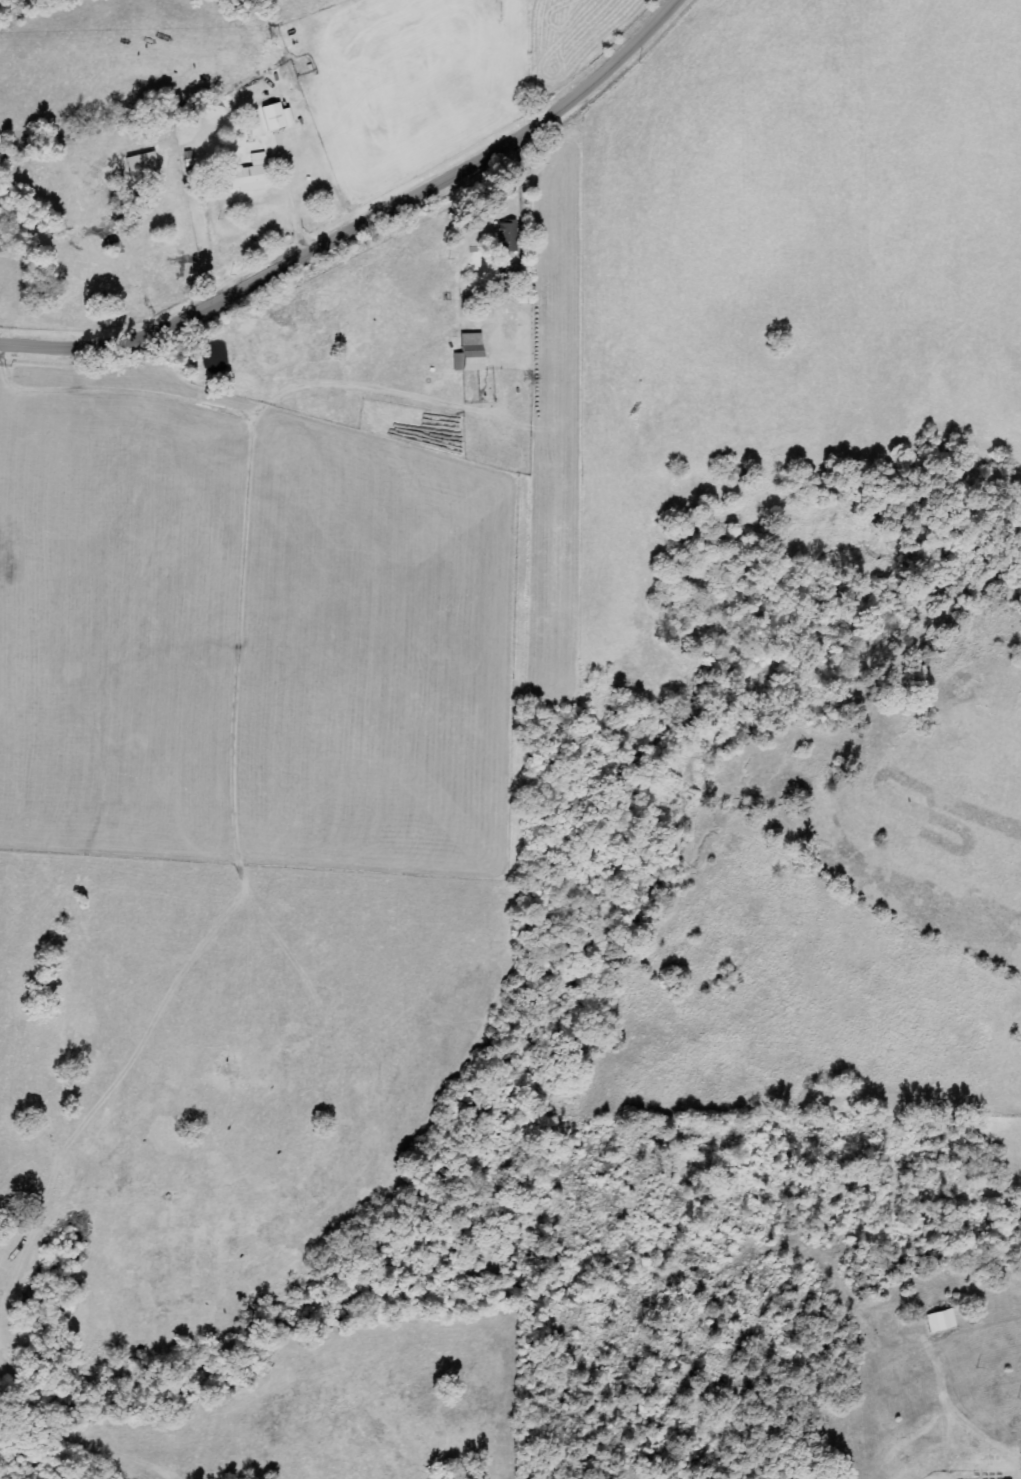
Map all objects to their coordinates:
building: (277, 117)
building: (143, 166)
building: (251, 174)
road: (365, 226)
building: (509, 237)
building: (470, 353)
building: (941, 1321)

